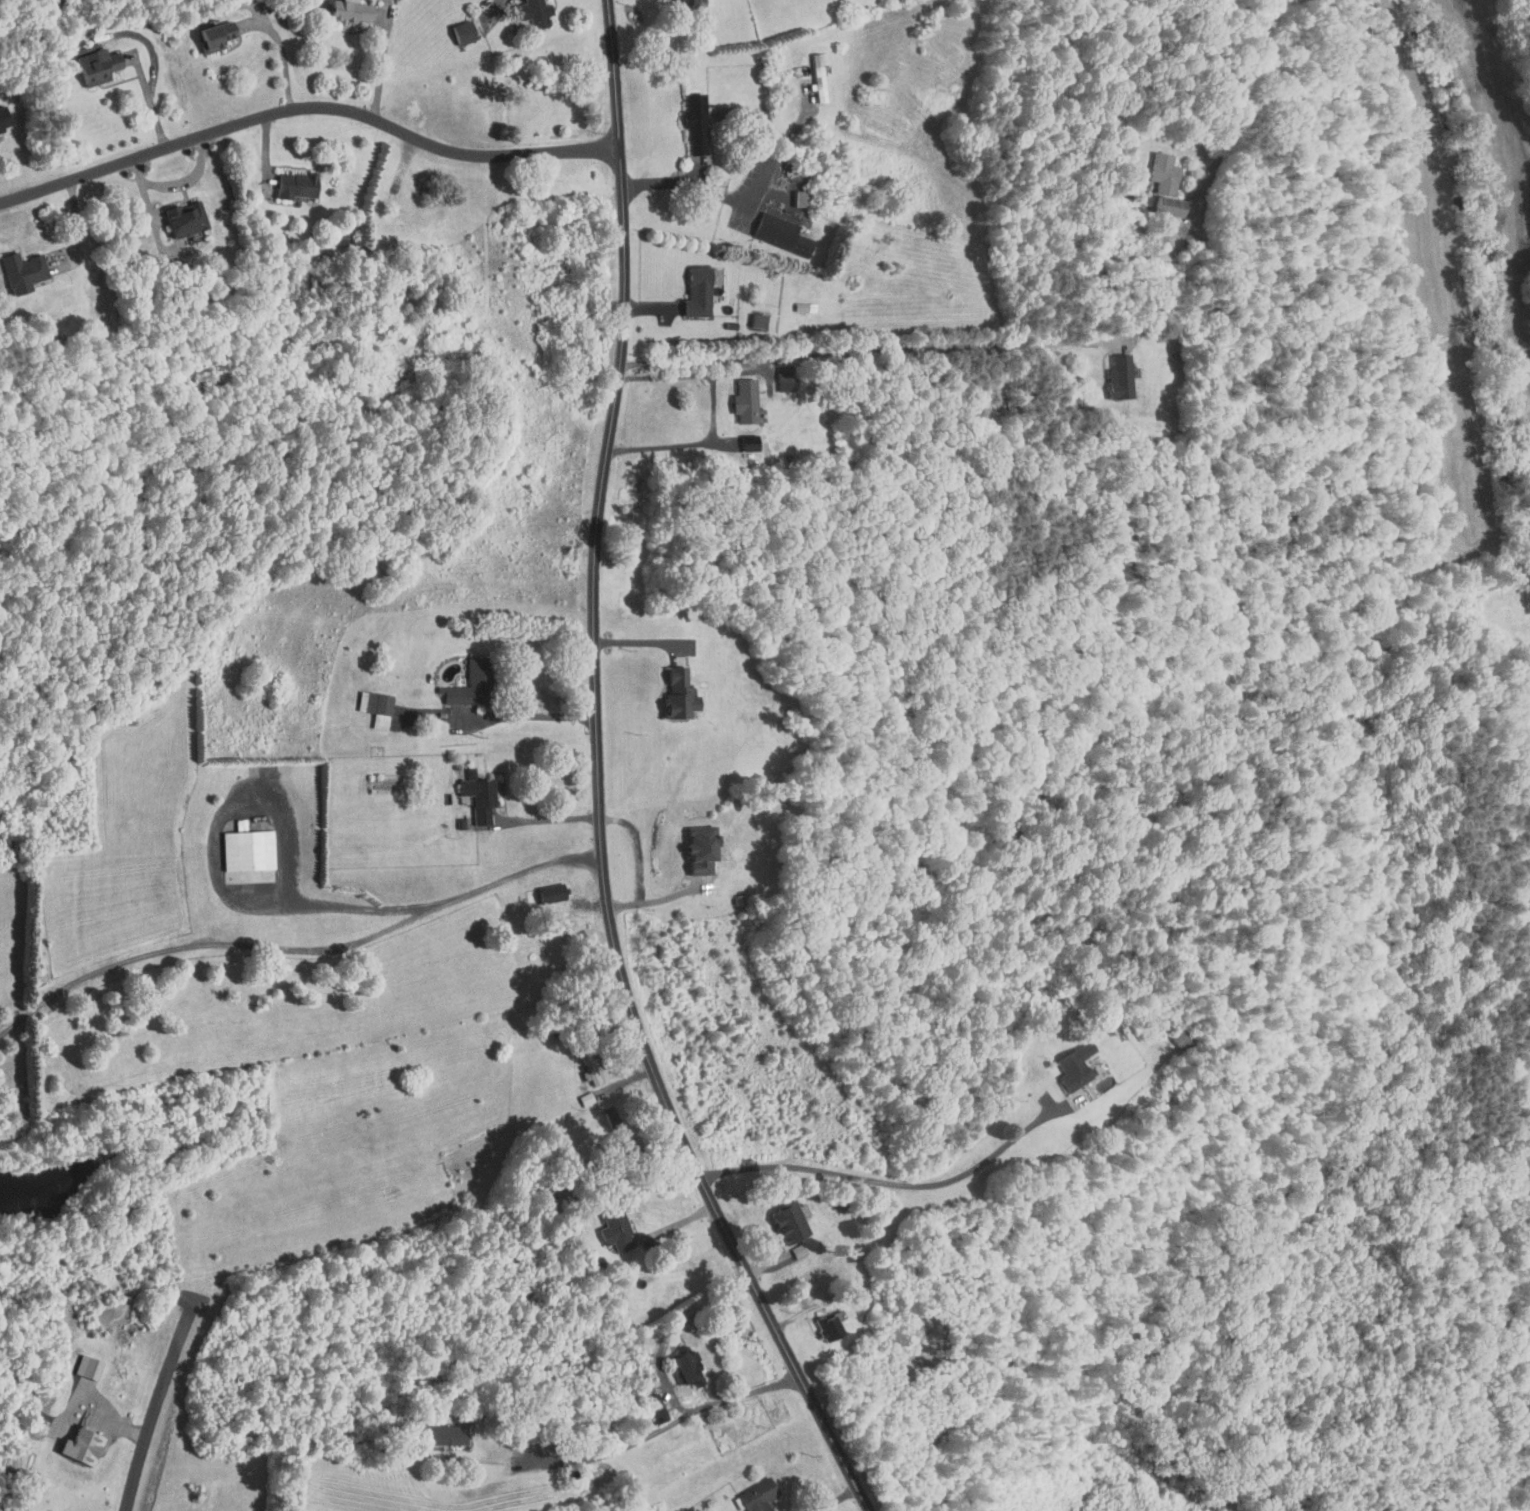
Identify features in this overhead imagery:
building: (672, 0)
building: (342, 6)
building: (529, 10)
building: (453, 26)
building: (205, 29)
road: (284, 53)
building: (86, 57)
road: (382, 69)
building: (809, 71)
road: (1244, 98)
road: (152, 99)
road: (307, 110)
building: (685, 116)
building: (0, 120)
building: (1155, 167)
building: (285, 179)
road: (179, 184)
building: (791, 192)
road: (735, 199)
building: (1160, 200)
building: (175, 212)
building: (772, 228)
building: (15, 266)
building: (688, 286)
building: (748, 314)
road: (869, 348)
building: (1110, 370)
road: (744, 371)
building: (775, 375)
building: (735, 395)
road: (714, 412)
building: (738, 437)
road: (645, 642)
building: (460, 678)
building: (668, 689)
building: (366, 702)
road: (529, 715)
road: (598, 783)
building: (468, 790)
road: (551, 819)
building: (691, 843)
building: (238, 844)
road: (641, 846)
road: (225, 882)
building: (543, 887)
road: (662, 900)
road: (298, 941)
building: (1170, 1030)
building: (1066, 1060)
building: (1082, 1081)
road: (890, 1183)
building: (781, 1216)
building: (606, 1226)
building: (789, 1244)
building: (818, 1321)
building: (78, 1362)
building: (679, 1363)
road: (669, 1383)
road: (101, 1399)
building: (647, 1403)
road: (159, 1404)
building: (434, 1429)
building: (72, 1441)
road: (616, 1451)
building: (749, 1492)

